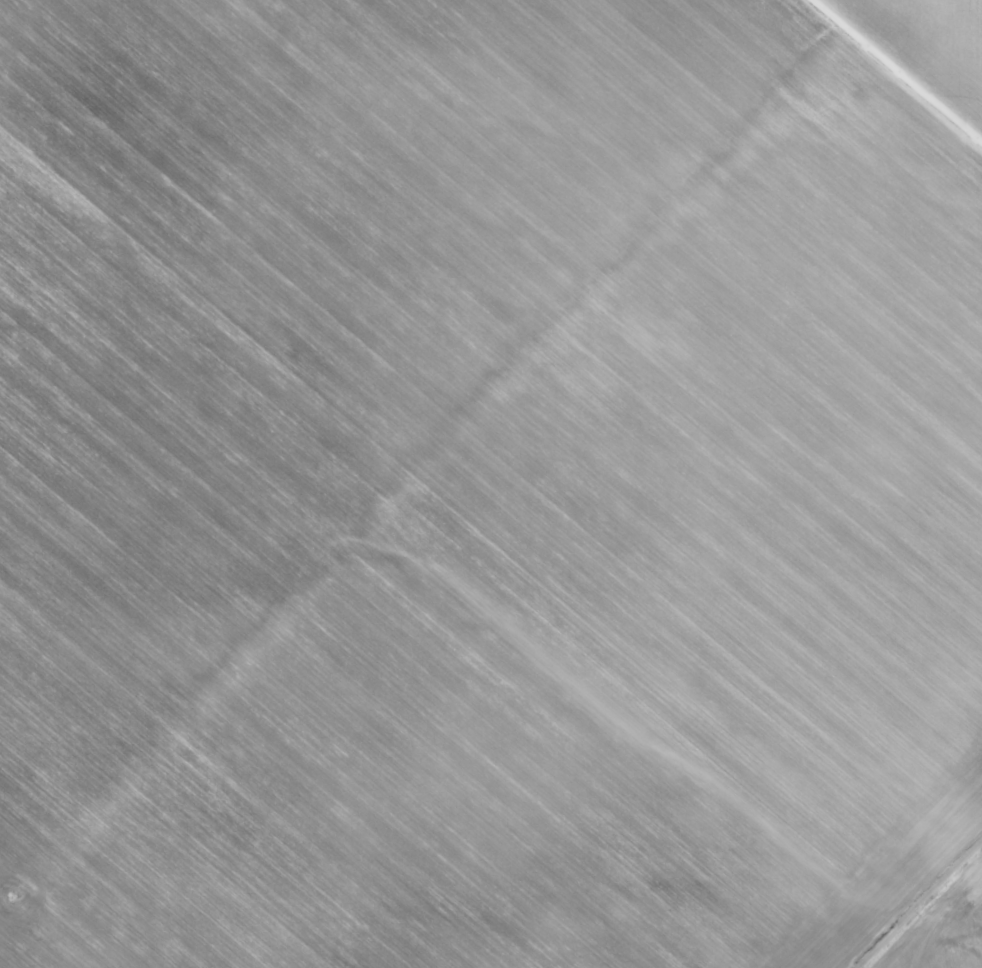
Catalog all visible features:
road: (474, 427)

